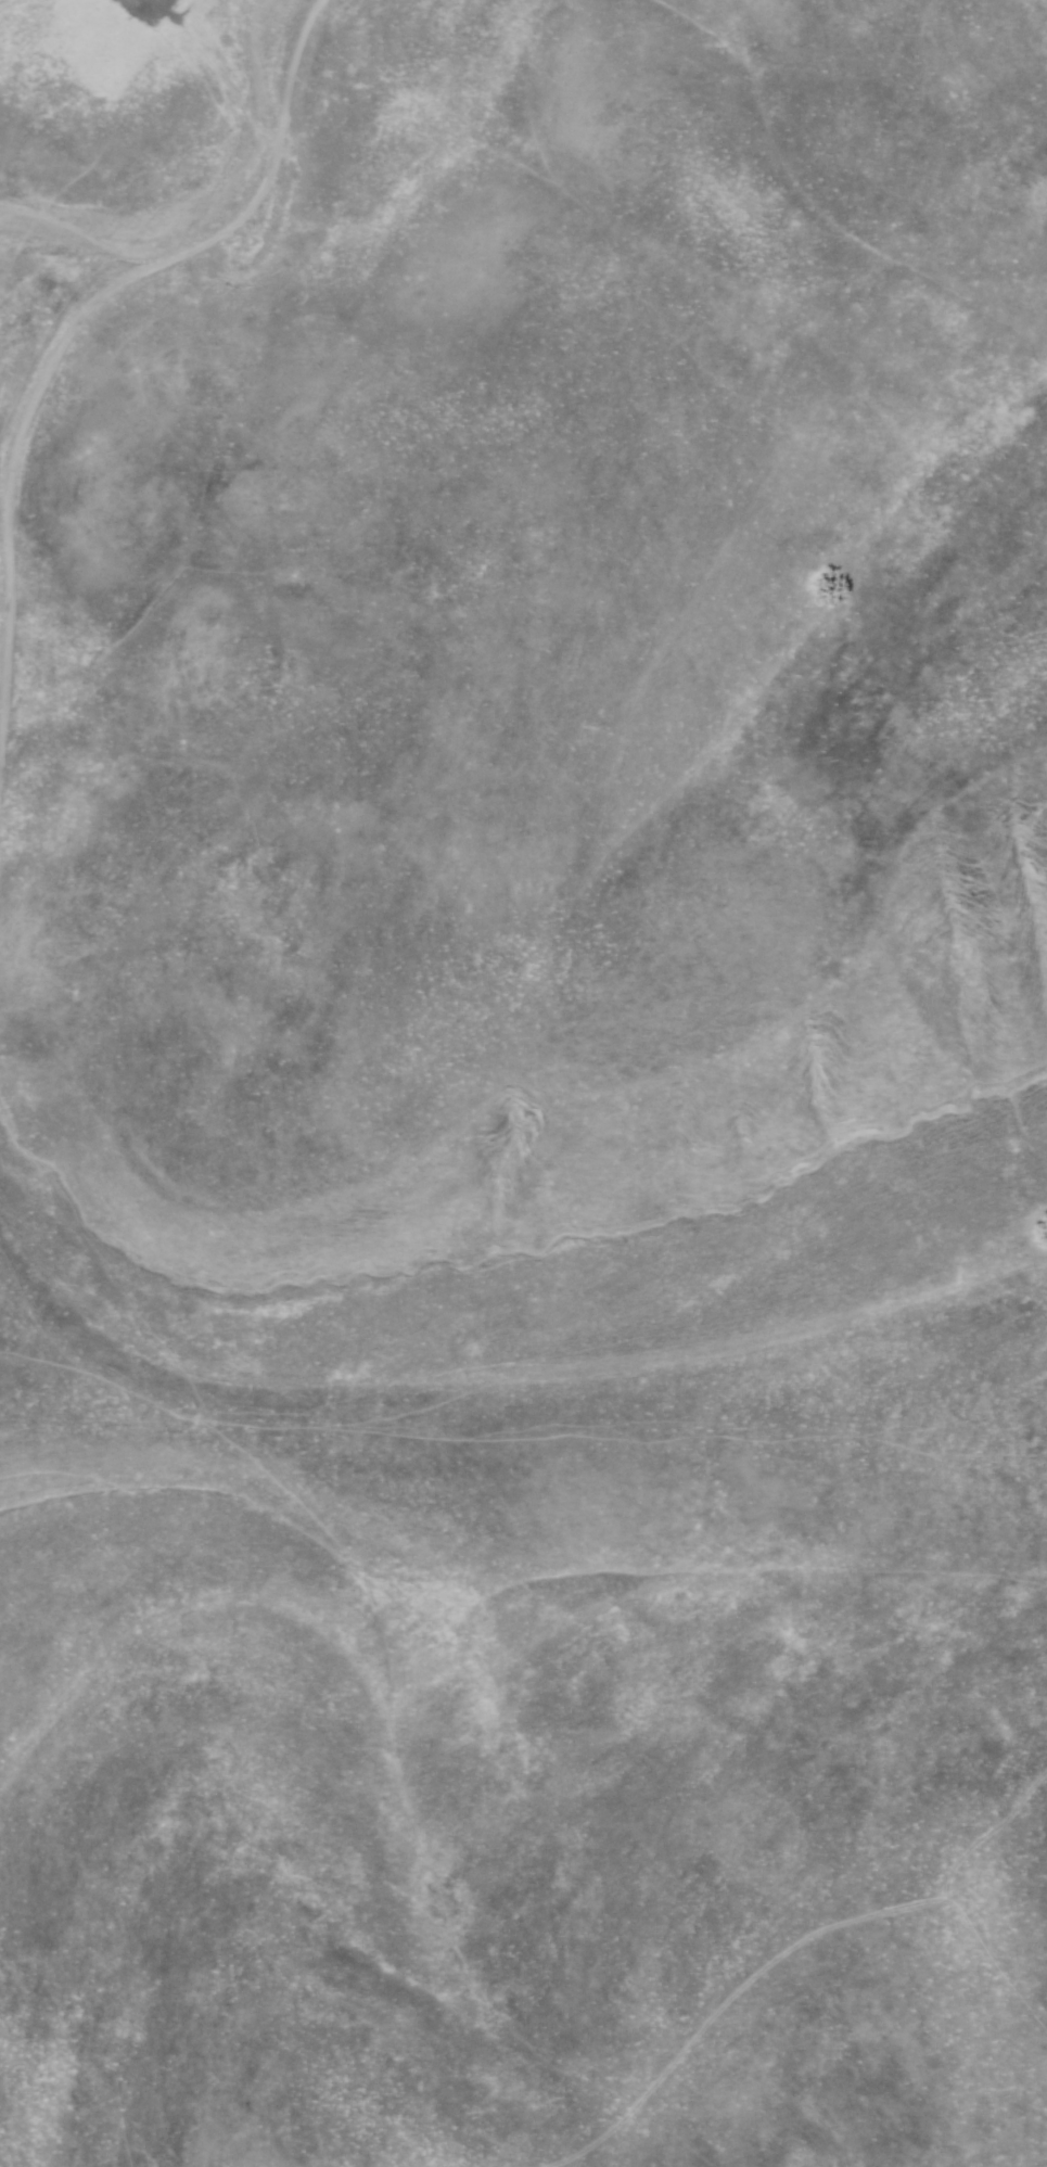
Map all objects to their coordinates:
road: (81, 317)

